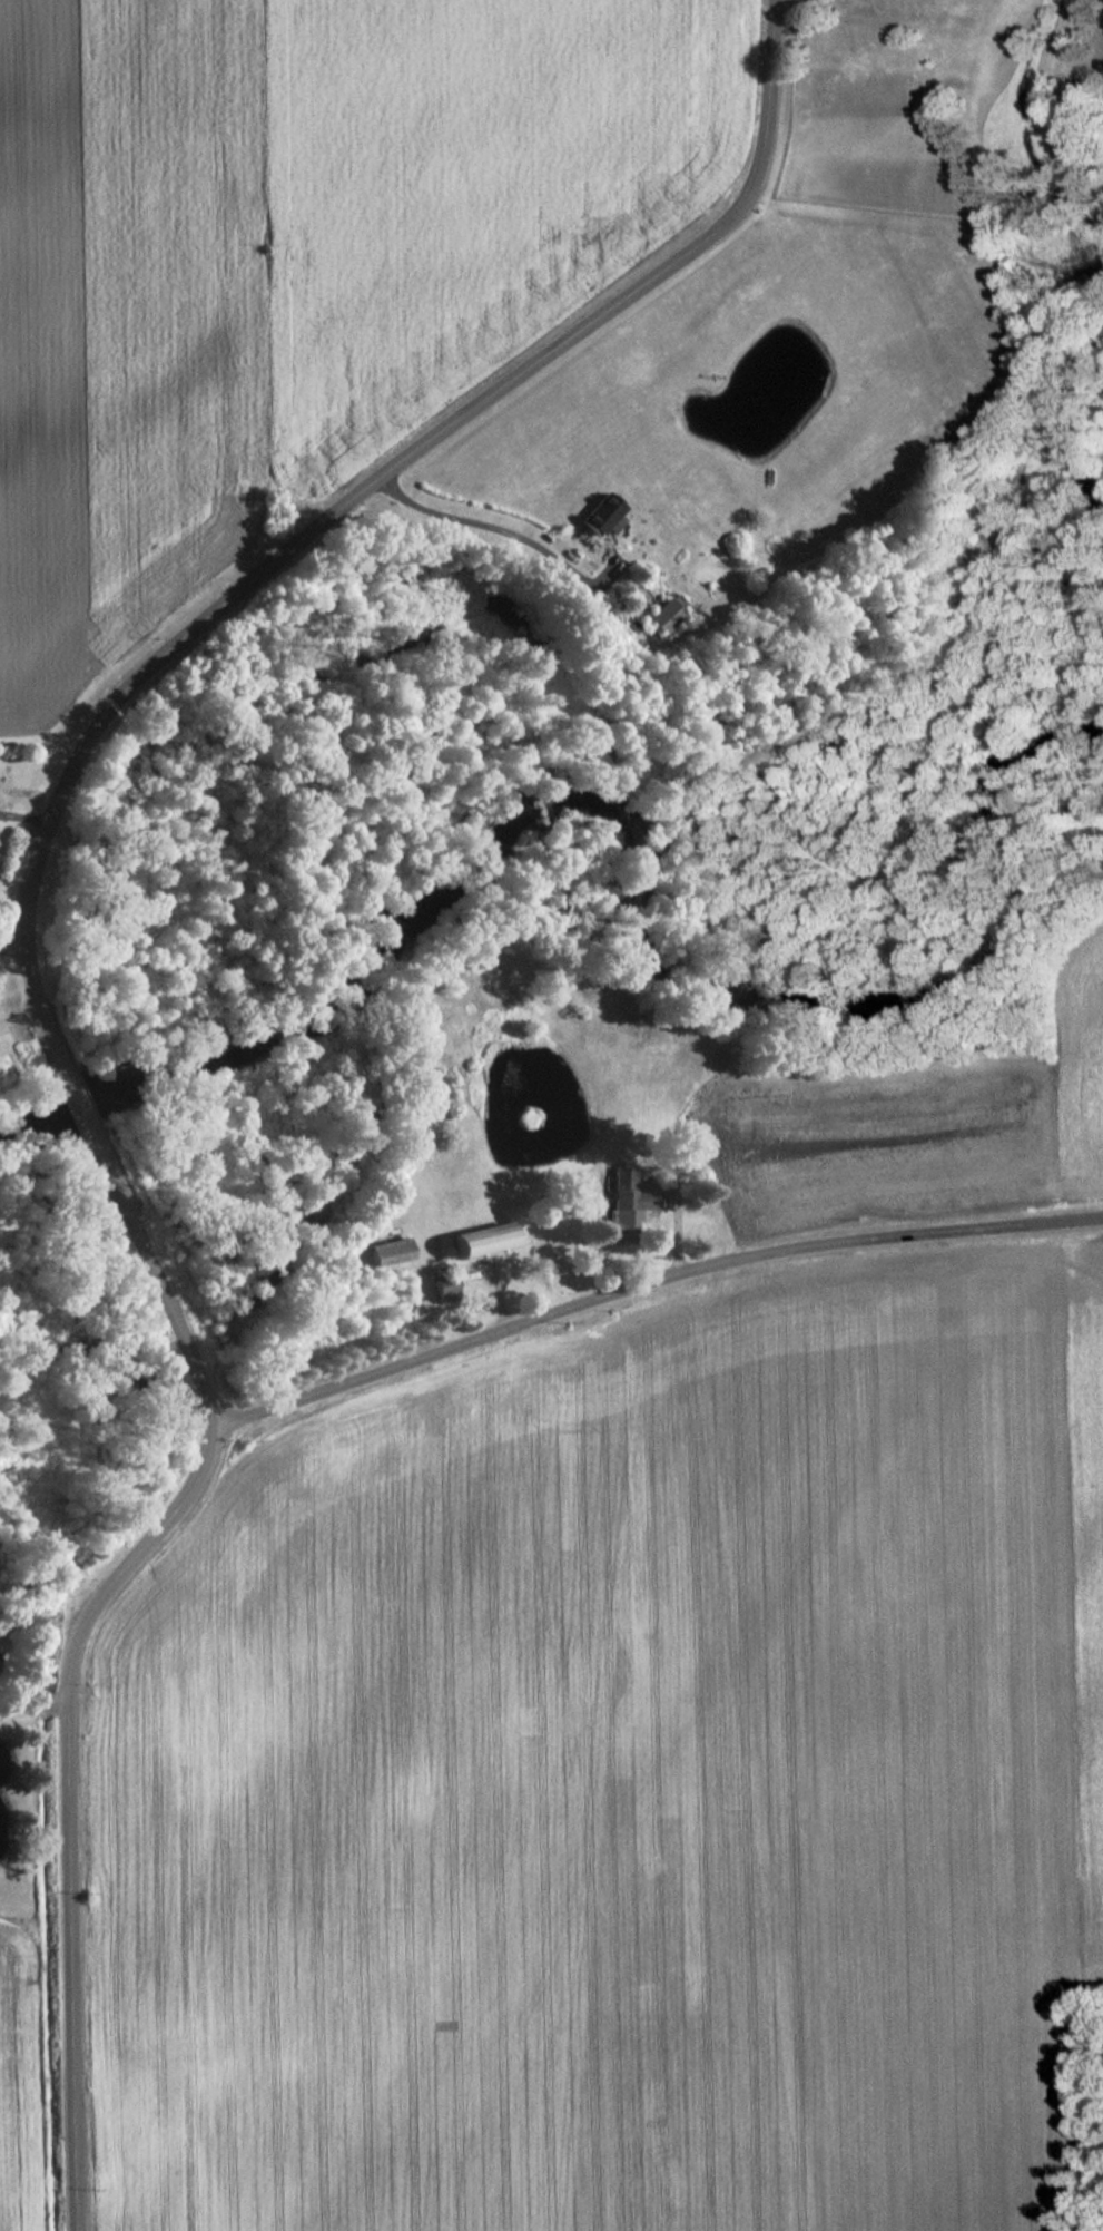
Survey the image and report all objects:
crop: (294, 261)
road: (364, 498)
building: (601, 517)
building: (661, 617)
road: (81, 1105)
crop: (913, 1122)
building: (623, 1195)
building: (480, 1241)
building: (386, 1253)
road: (657, 1283)
road: (168, 1296)
crop: (1081, 1595)
road: (30, 1702)
crop: (609, 1793)
road: (62, 1802)
crop: (12, 2095)

